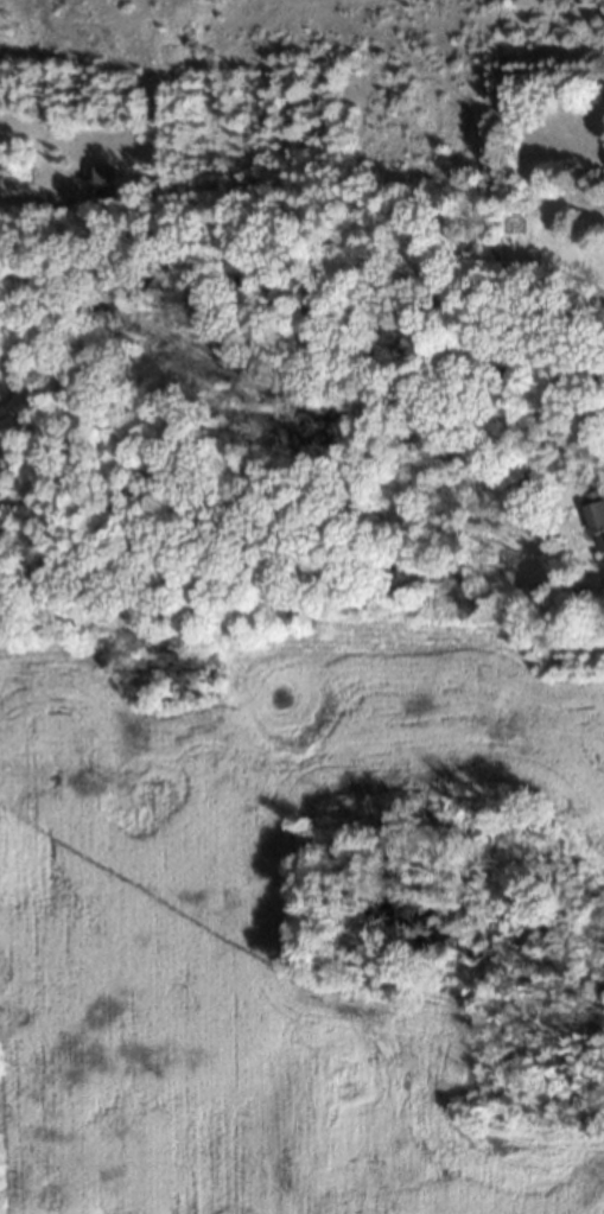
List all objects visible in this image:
building: (98, 184)
road: (297, 306)
building: (597, 516)

